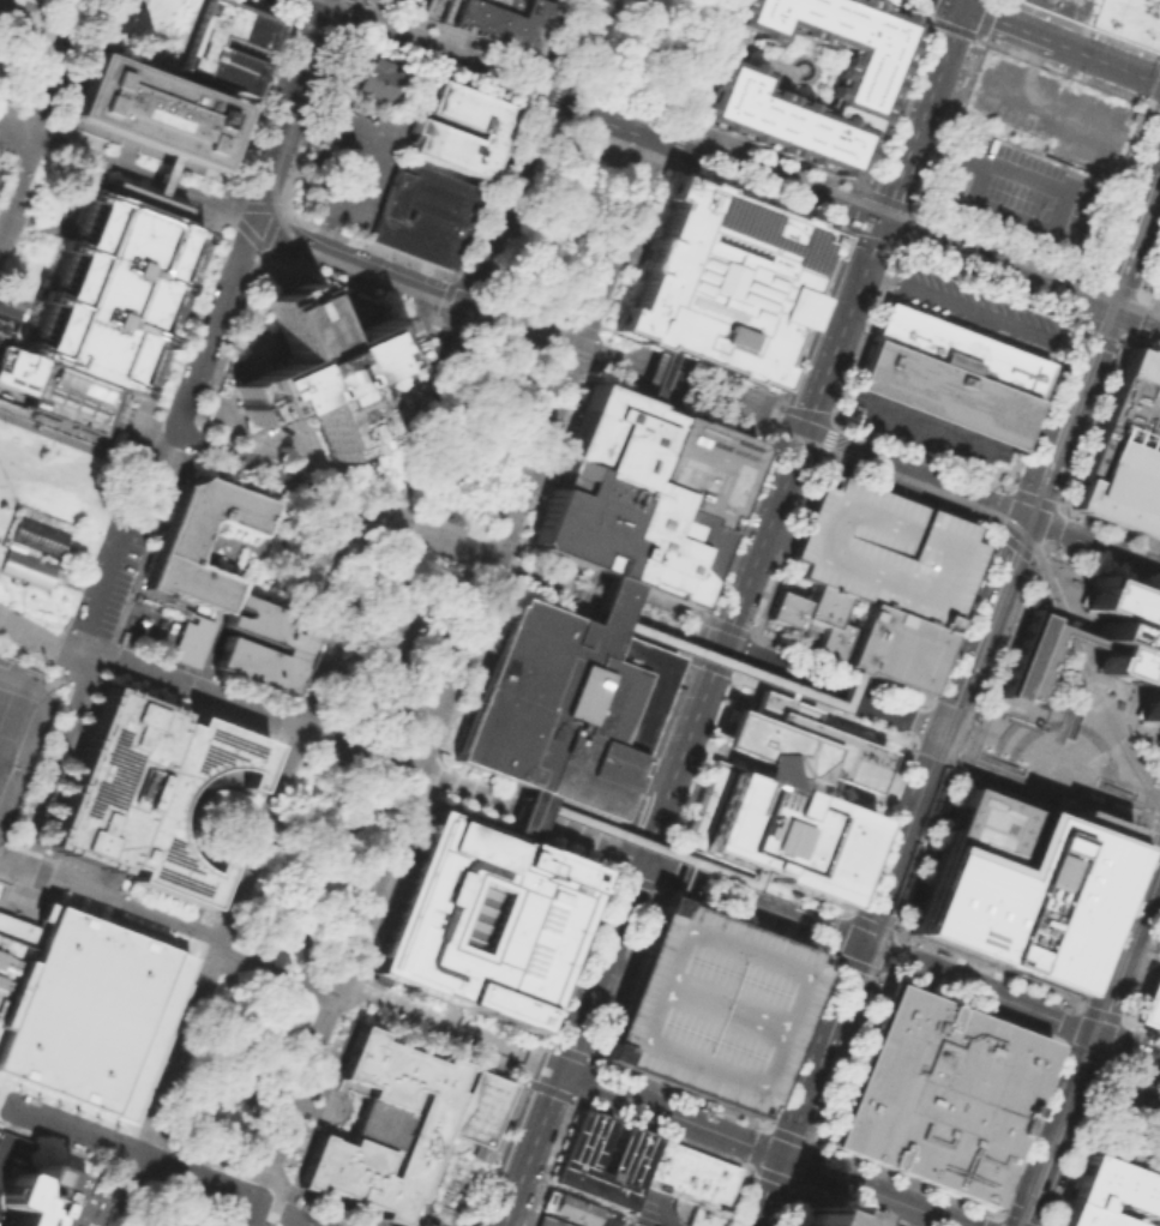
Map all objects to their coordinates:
road: (951, 4)
road: (964, 4)
road: (311, 5)
road: (326, 5)
road: (668, 7)
traffic signals: (963, 8)
building: (1064, 8)
road: (354, 10)
traffic signals: (325, 11)
road: (636, 17)
building: (491, 19)
road: (985, 19)
building: (1128, 20)
road: (1082, 29)
road: (575, 38)
road: (612, 44)
road: (1060, 46)
building: (205, 48)
road: (636, 49)
road: (675, 55)
road: (44, 65)
fountain: (800, 67)
road: (686, 68)
road: (1063, 72)
road: (553, 74)
building: (371, 78)
road: (936, 78)
building: (732, 90)
road: (1154, 92)
road: (607, 94)
road: (552, 100)
road: (1040, 102)
road: (1155, 107)
building: (151, 109)
railway: (653, 112)
road: (286, 115)
road: (365, 120)
building: (476, 122)
road: (944, 125)
road: (13, 128)
road: (555, 128)
road: (680, 138)
road: (549, 145)
road: (609, 150)
road: (702, 154)
railway: (741, 156)
parking lot: (351, 161)
road: (162, 174)
road: (137, 176)
road: (1152, 179)
road: (17, 181)
road: (895, 186)
parking lot: (1017, 187)
road: (1118, 190)
road: (512, 208)
building: (422, 212)
traffic signals: (882, 223)
road: (903, 227)
road: (326, 232)
road: (999, 242)
road: (1124, 253)
road: (480, 257)
road: (354, 263)
road: (1150, 271)
road: (985, 280)
building: (722, 282)
building: (1158, 290)
road: (1138, 294)
road: (1150, 298)
road: (445, 299)
parking lot: (978, 305)
building: (101, 307)
traffic signals: (1104, 307)
road: (1106, 308)
road: (473, 309)
road: (974, 312)
building: (7, 319)
road: (210, 323)
road: (529, 323)
road: (1147, 323)
road: (1096, 325)
railway: (535, 332)
road: (864, 335)
road: (581, 349)
building: (314, 359)
road: (630, 366)
road: (481, 371)
road: (653, 374)
building: (949, 374)
railway: (685, 392)
fountain: (385, 397)
road: (1038, 399)
road: (491, 425)
road: (1057, 431)
road: (801, 433)
road: (168, 434)
traffic signals: (801, 434)
parking lot: (918, 437)
road: (949, 438)
road: (287, 441)
road: (88, 445)
road: (822, 447)
building: (1126, 452)
road: (918, 453)
road: (857, 455)
road: (277, 473)
road: (440, 480)
building: (642, 493)
road: (900, 494)
road: (967, 497)
road: (64, 500)
fountain: (474, 518)
traffic signals: (1023, 518)
building: (37, 534)
road: (779, 536)
road: (441, 537)
road: (1090, 545)
road: (120, 546)
building: (174, 548)
building: (884, 551)
parking lot: (884, 551)
road: (782, 552)
building: (302, 559)
road: (937, 559)
road: (1038, 559)
building: (25, 567)
road: (553, 579)
road: (608, 602)
road: (405, 605)
railway: (1070, 605)
road: (1069, 606)
road: (600, 612)
building: (812, 615)
road: (956, 615)
road: (341, 621)
road: (663, 621)
road: (984, 623)
road: (686, 635)
building: (283, 638)
building: (1128, 641)
building: (188, 642)
traffic signals: (722, 644)
building: (892, 648)
road: (744, 653)
road: (353, 654)
park: (423, 662)
road: (999, 662)
road: (459, 667)
road: (739, 667)
road: (837, 667)
building: (1027, 667)
road: (1094, 667)
road: (150, 672)
road: (469, 674)
road: (74, 677)
road: (767, 684)
road: (833, 685)
railway: (966, 701)
road: (1089, 702)
road: (998, 704)
road: (1100, 704)
road: (943, 705)
building: (561, 707)
road: (823, 710)
road: (1023, 713)
road: (1064, 722)
road: (991, 723)
fountain: (1071, 725)
park: (12, 728)
traffic signals: (944, 728)
road: (1122, 729)
road: (912, 743)
road: (661, 745)
road: (260, 749)
road: (680, 751)
road: (360, 752)
road: (1065, 752)
road: (283, 756)
road: (949, 756)
road: (52, 758)
fountain: (998, 759)
road: (704, 761)
road: (256, 762)
road: (972, 767)
road: (278, 770)
railway: (1156, 773)
road: (251, 775)
road: (229, 777)
road: (1062, 782)
road: (274, 783)
road: (1024, 785)
fountain: (1114, 787)
road: (1068, 793)
building: (145, 794)
building: (786, 798)
road: (175, 805)
road: (181, 806)
road: (174, 811)
road: (521, 812)
road: (522, 813)
road: (1128, 816)
road: (1150, 816)
road: (529, 817)
road: (174, 821)
road: (874, 827)
road: (902, 836)
road: (645, 845)
road: (403, 847)
road: (608, 848)
road: (928, 849)
road: (308, 851)
road: (326, 851)
traffic signals: (639, 860)
road: (197, 863)
road: (5, 864)
road: (215, 870)
road: (236, 878)
road: (678, 879)
road: (210, 882)
road: (757, 882)
building: (1018, 884)
road: (307, 887)
road: (233, 889)
road: (206, 893)
road: (228, 901)
road: (750, 902)
road: (114, 903)
building: (481, 918)
road: (192, 919)
road: (776, 925)
railway: (903, 927)
road: (282, 932)
road: (890, 934)
road: (1134, 940)
road: (220, 942)
traffic signals: (861, 945)
road: (371, 984)
road: (338, 986)
road: (980, 990)
building: (1149, 1003)
building: (708, 1006)
parking lot: (708, 1006)
road: (389, 1008)
building: (77, 1009)
road: (1027, 1020)
road: (1104, 1022)
road: (813, 1023)
railway: (1092, 1034)
traffic signals: (1099, 1035)
road: (570, 1042)
road: (805, 1046)
road: (1129, 1046)
road: (241, 1051)
road: (822, 1051)
road: (476, 1054)
road: (531, 1062)
road: (1111, 1063)
traffic signals: (559, 1072)
road: (1135, 1074)
road: (1, 1084)
building: (938, 1093)
road: (1076, 1094)
road: (1138, 1100)
road: (73, 1107)
building: (481, 1107)
parking lot: (1131, 1108)
flagpole: (342, 1110)
road: (669, 1114)
building: (385, 1126)
road: (71, 1129)
road: (1093, 1132)
road: (1080, 1144)
road: (56, 1146)
road: (1141, 1149)
road: (492, 1153)
road: (4, 1154)
building: (578, 1155)
road: (206, 1156)
traffic signals: (781, 1158)
road: (438, 1159)
road: (198, 1177)
building: (692, 1179)
road: (1042, 1183)
road: (126, 1190)
road: (232, 1190)
road: (768, 1191)
road: (871, 1191)
building: (1106, 1194)
building: (43, 1197)
road: (101, 1197)
road: (197, 1201)
road: (323, 1204)
road: (665, 1212)
road: (252, 1213)
building: (581, 1213)
road: (203, 1214)
park: (305, 1216)
building: (831, 1216)
road: (1028, 1219)
building: (548, 1220)
building: (1155, 1222)
building: (879, 1224)

